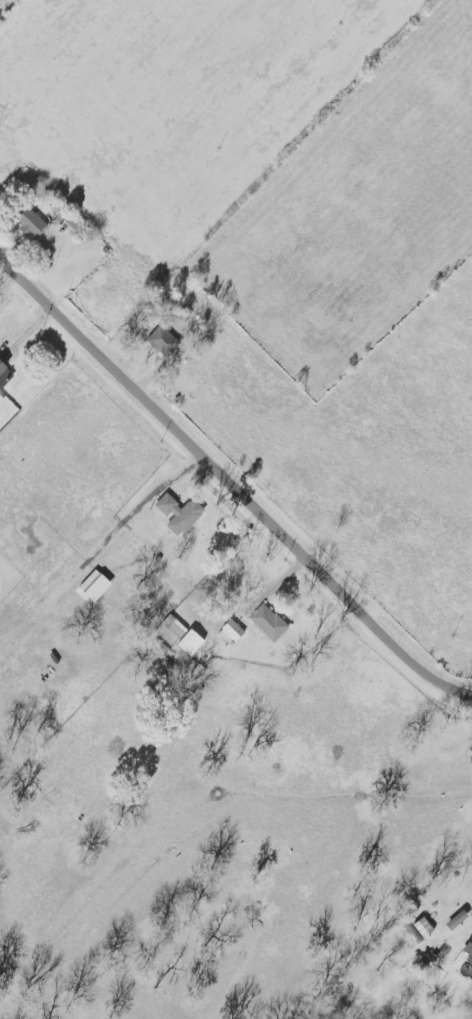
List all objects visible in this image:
road: (11, 10)
building: (34, 225)
building: (166, 342)
building: (7, 377)
road: (231, 486)
building: (175, 512)
building: (271, 623)
building: (234, 633)
road: (285, 686)
building: (60, 801)
building: (419, 928)
building: (465, 955)

